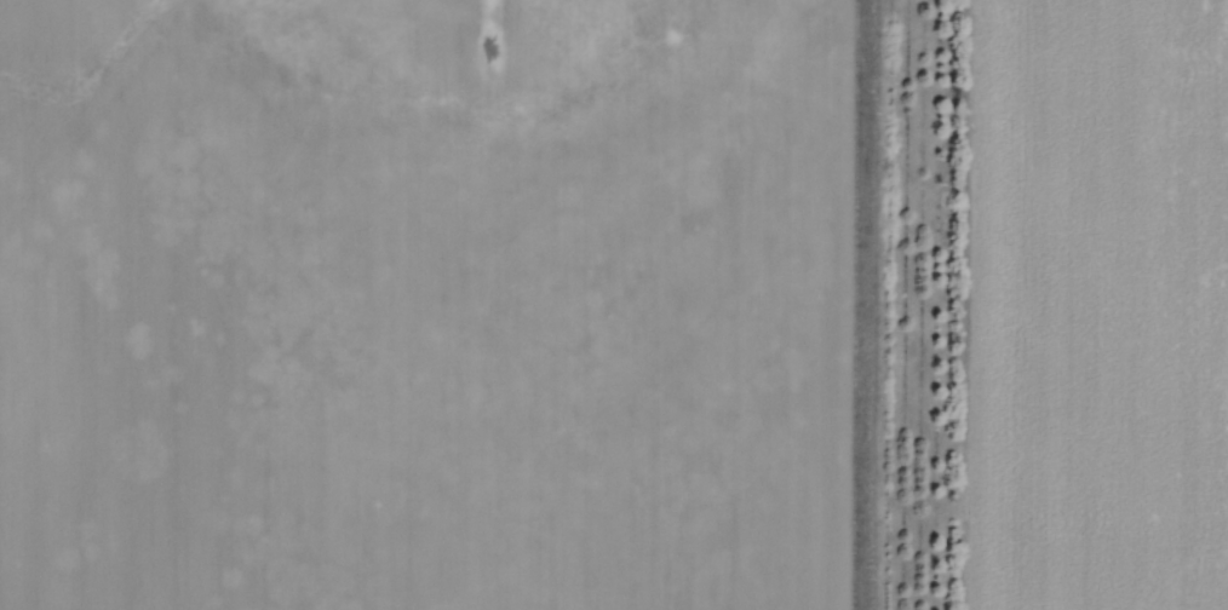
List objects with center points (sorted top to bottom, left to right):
crop: (425, 305)
crop: (1098, 305)

